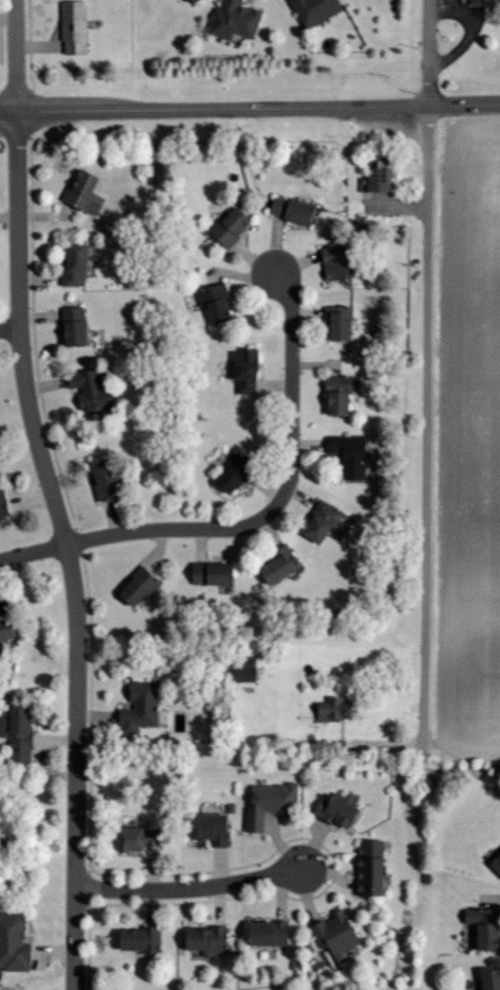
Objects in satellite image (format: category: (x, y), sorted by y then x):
building: (185, 0)
building: (480, 1)
building: (310, 10)
building: (230, 19)
building: (71, 24)
road: (429, 53)
road: (16, 55)
road: (249, 108)
road: (9, 133)
building: (374, 175)
building: (79, 192)
building: (288, 210)
building: (225, 226)
building: (329, 262)
building: (69, 264)
building: (210, 301)
building: (334, 323)
building: (67, 326)
road: (10, 330)
building: (239, 369)
building: (85, 391)
building: (333, 393)
road: (424, 428)
building: (345, 454)
building: (225, 474)
building: (97, 478)
road: (283, 496)
building: (1, 506)
building: (317, 519)
road: (66, 548)
road: (32, 552)
building: (274, 564)
building: (207, 572)
building: (132, 587)
building: (4, 628)
building: (235, 670)
building: (135, 705)
building: (325, 708)
building: (14, 732)
building: (264, 801)
building: (203, 826)
building: (131, 836)
building: (494, 861)
building: (365, 865)
road: (190, 888)
building: (477, 925)
building: (261, 931)
building: (331, 933)
building: (133, 937)
building: (200, 938)
building: (11, 942)
building: (487, 978)

